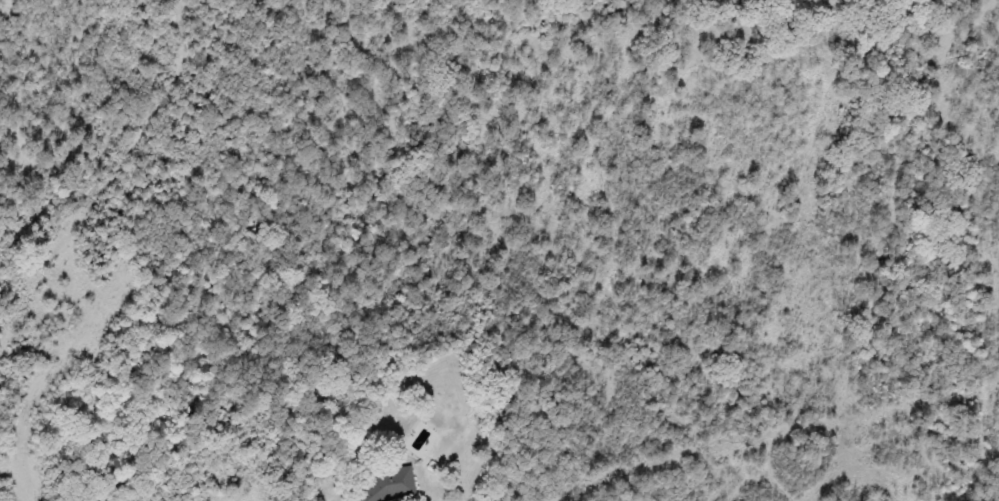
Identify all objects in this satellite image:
building: (382, 486)

